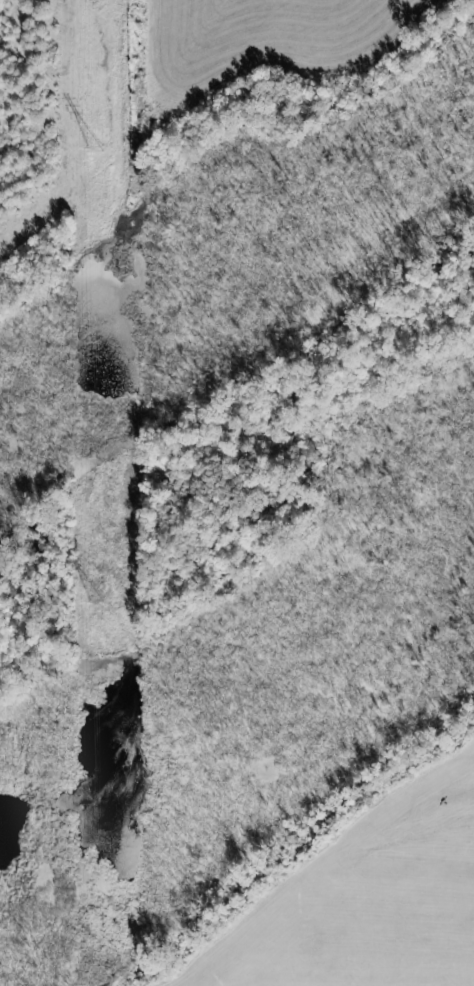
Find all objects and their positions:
power tower: (99, 153)
power tower: (97, 607)

